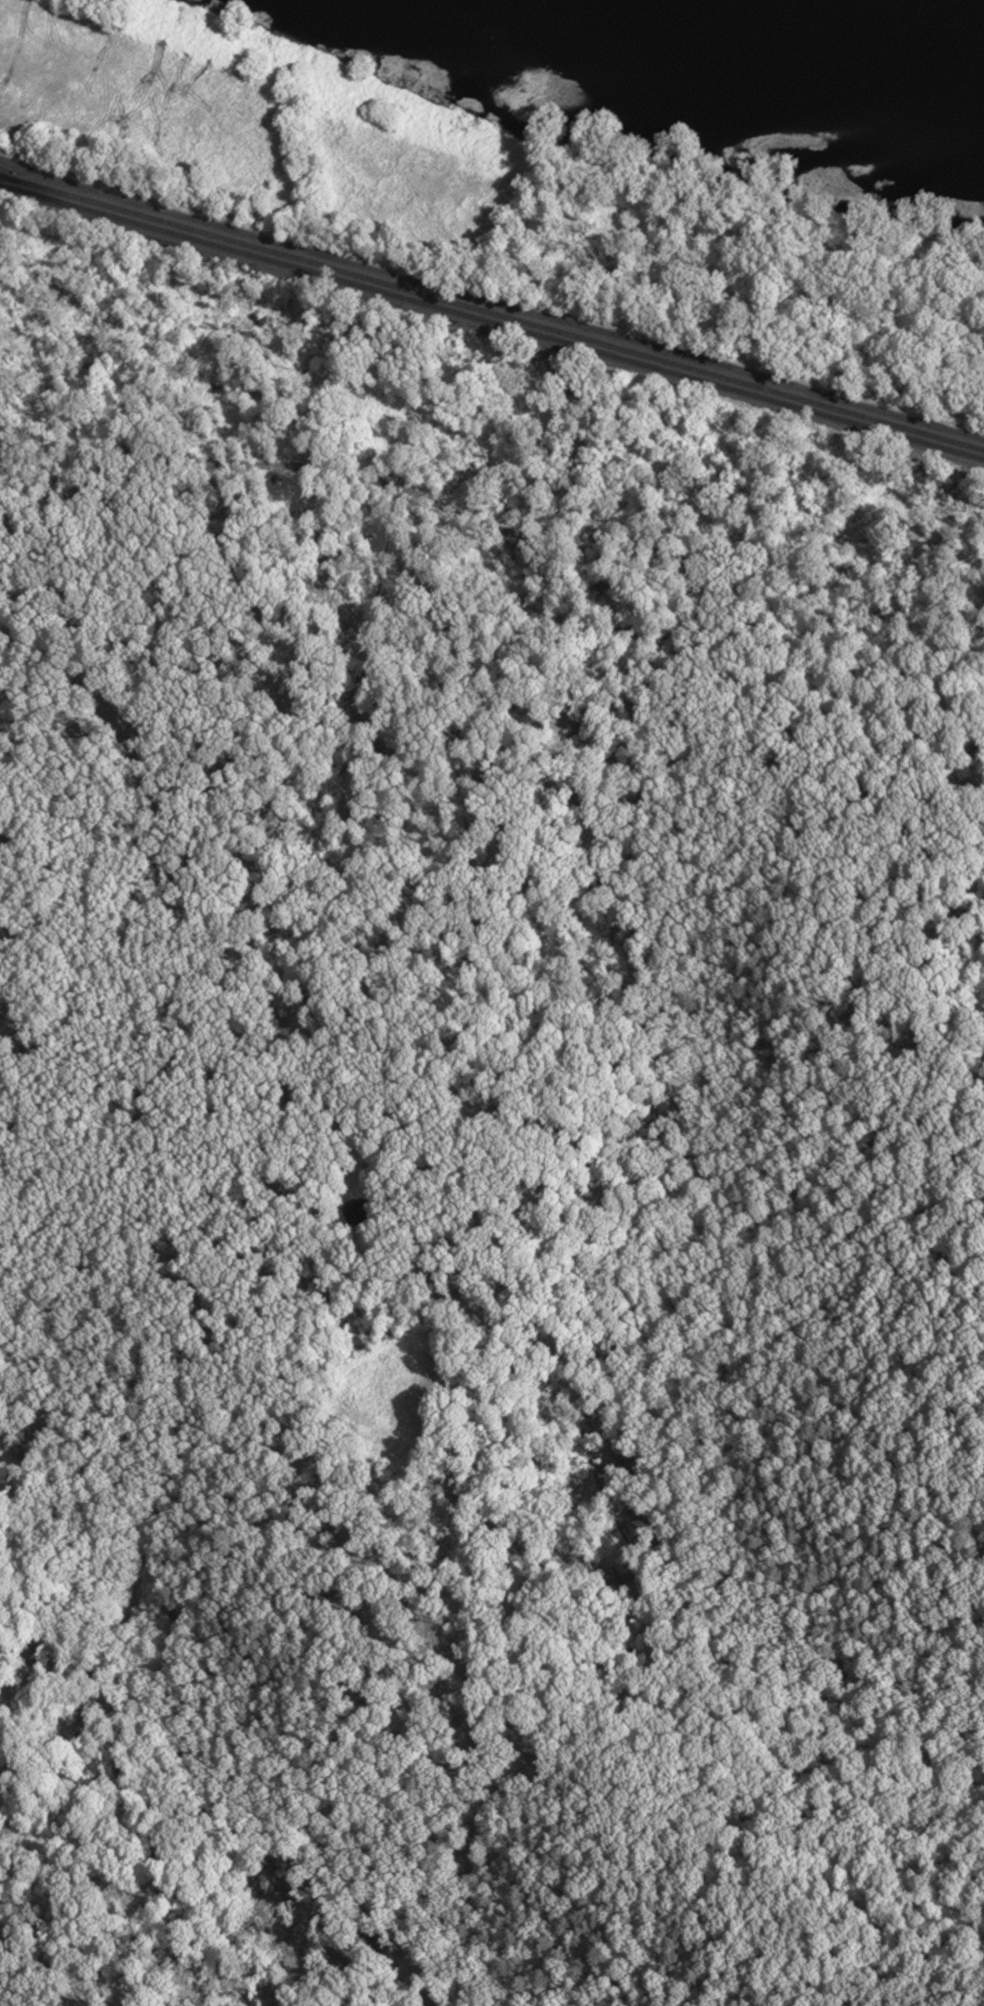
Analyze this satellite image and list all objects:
river: (800, 44)
road: (492, 297)
railway: (492, 312)
railway: (492, 321)

